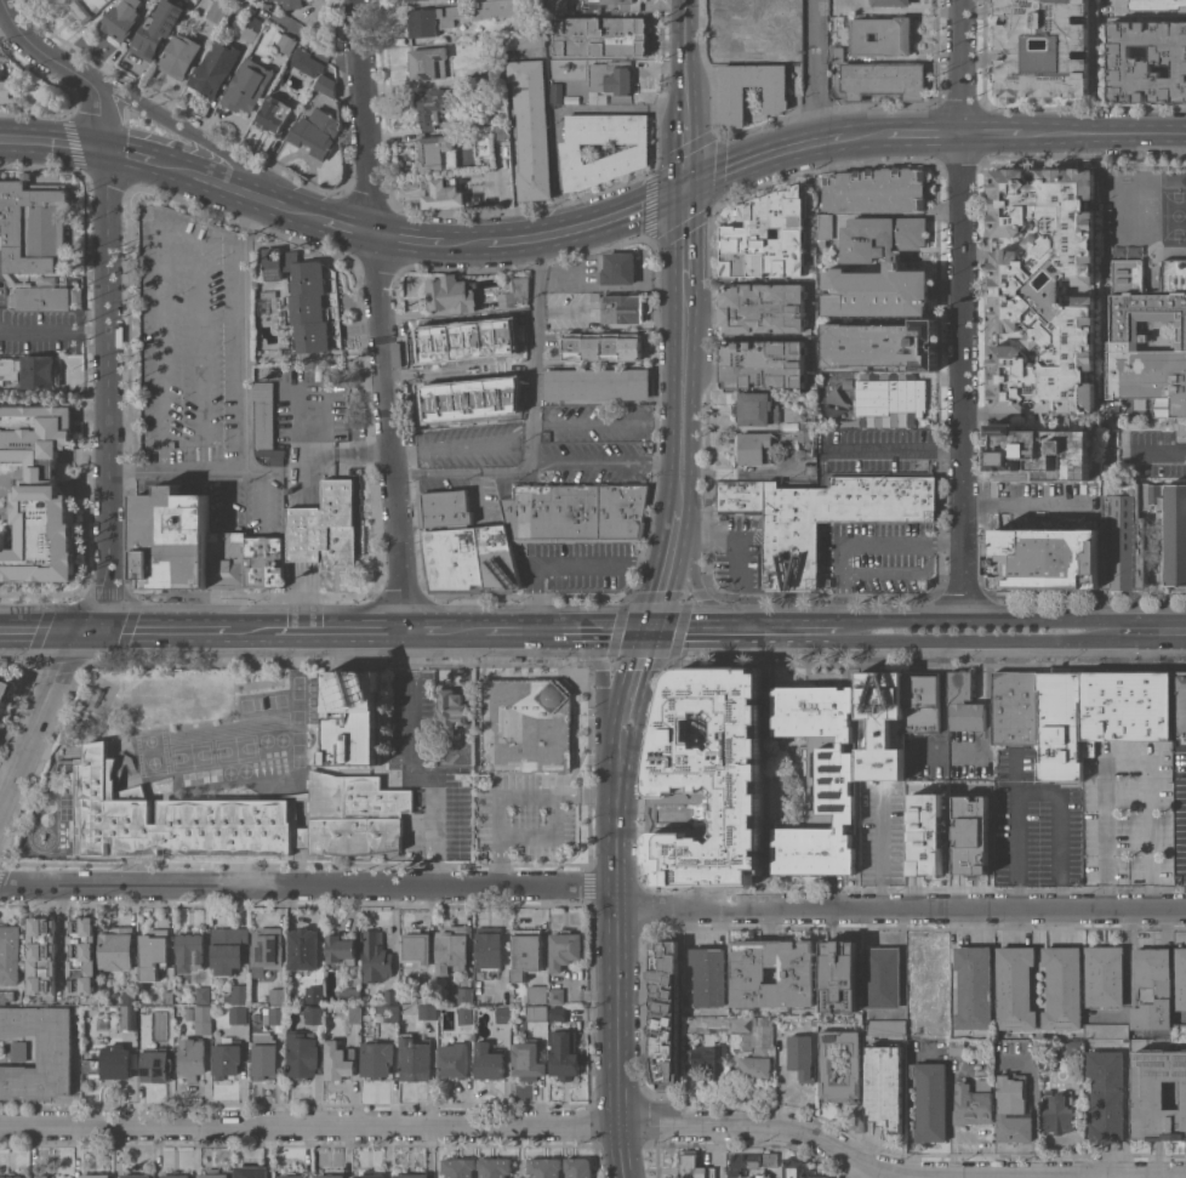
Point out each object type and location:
building: (410, 0)
building: (893, 2)
building: (292, 4)
building: (558, 5)
building: (623, 5)
building: (751, 5)
building: (823, 5)
building: (1158, 5)
building: (82, 8)
building: (496, 8)
road: (901, 8)
building: (791, 10)
building: (217, 12)
building: (122, 19)
building: (432, 19)
building: (156, 29)
building: (252, 29)
road: (80, 30)
building: (752, 35)
building: (603, 36)
building: (882, 36)
building: (520, 41)
building: (283, 42)
building: (1043, 47)
road: (682, 52)
building: (838, 53)
building: (789, 55)
building: (181, 57)
building: (306, 62)
building: (1147, 62)
building: (428, 63)
building: (215, 68)
building: (496, 72)
road: (815, 74)
building: (610, 79)
building: (883, 80)
road: (422, 82)
building: (247, 85)
building: (326, 85)
building: (7, 90)
building: (555, 92)
building: (734, 92)
building: (431, 107)
building: (275, 113)
building: (479, 116)
building: (530, 130)
building: (501, 132)
road: (183, 133)
building: (315, 133)
road: (910, 136)
road: (996, 137)
road: (1107, 138)
building: (481, 141)
road: (53, 143)
road: (683, 148)
building: (433, 153)
building: (632, 153)
road: (769, 160)
road: (138, 161)
road: (513, 171)
building: (877, 190)
road: (238, 192)
traffic signals: (684, 192)
building: (441, 193)
road: (340, 222)
building: (33, 226)
building: (825, 226)
road: (575, 229)
road: (684, 234)
building: (768, 235)
building: (882, 235)
road: (416, 240)
building: (1128, 263)
building: (1174, 263)
building: (618, 268)
building: (8, 278)
building: (1045, 290)
building: (878, 291)
building: (515, 292)
building: (269, 294)
building: (454, 294)
road: (109, 295)
building: (594, 296)
building: (42, 298)
building: (309, 300)
road: (964, 307)
building: (622, 308)
building: (764, 308)
road: (380, 314)
road: (55, 328)
building: (474, 328)
building: (1150, 341)
building: (882, 345)
building: (603, 346)
road: (532, 351)
building: (764, 364)
building: (33, 371)
building: (598, 385)
road: (683, 392)
building: (890, 395)
road: (245, 402)
building: (757, 409)
road: (606, 421)
building: (808, 422)
building: (261, 432)
building: (804, 444)
building: (753, 448)
road: (894, 448)
road: (342, 450)
road: (1158, 450)
building: (1044, 454)
building: (273, 455)
building: (1110, 456)
road: (537, 462)
building: (39, 493)
building: (740, 496)
road: (1024, 503)
building: (444, 507)
building: (575, 512)
building: (833, 518)
building: (324, 527)
building: (1142, 534)
building: (171, 540)
road: (861, 542)
road: (741, 550)
building: (1045, 558)
building: (228, 559)
building: (468, 559)
building: (264, 562)
road: (569, 564)
road: (668, 568)
road: (697, 591)
road: (1028, 615)
road: (1139, 615)
road: (942, 616)
road: (878, 618)
road: (464, 627)
road: (40, 628)
traffic signals: (80, 628)
road: (154, 628)
road: (249, 628)
road: (338, 628)
road: (426, 628)
road: (569, 628)
traffic signals: (652, 630)
road: (746, 630)
road: (974, 641)
road: (1148, 641)
road: (592, 651)
building: (731, 690)
building: (6, 692)
road: (633, 693)
building: (920, 704)
building: (964, 704)
building: (1181, 704)
building: (1127, 706)
building: (451, 707)
building: (1015, 708)
road: (987, 712)
building: (695, 716)
building: (353, 718)
building: (739, 719)
road: (40, 722)
building: (525, 724)
building: (882, 725)
building: (1060, 727)
road: (1129, 761)
road: (411, 769)
building: (463, 773)
building: (821, 778)
building: (720, 785)
road: (597, 791)
road: (1038, 793)
road: (500, 802)
road: (702, 804)
building: (295, 814)
building: (355, 815)
building: (167, 818)
road: (615, 821)
road: (748, 833)
building: (925, 833)
building: (969, 835)
road: (662, 842)
road: (880, 849)
road: (308, 884)
road: (901, 911)
road: (62, 929)
building: (118, 947)
building: (416, 947)
building: (303, 949)
building: (340, 949)
building: (452, 949)
building: (565, 949)
building: (228, 950)
building: (267, 950)
building: (190, 951)
building: (487, 951)
building: (528, 952)
building: (10, 954)
building: (154, 954)
building: (42, 955)
building: (82, 955)
building: (376, 957)
road: (951, 969)
building: (797, 973)
building: (709, 975)
building: (839, 977)
building: (1104, 977)
building: (883, 978)
building: (1181, 978)
building: (974, 988)
building: (1015, 988)
building: (1062, 989)
building: (1152, 989)
building: (538, 994)
building: (204, 995)
building: (238, 995)
building: (314, 995)
building: (352, 995)
building: (6, 996)
building: (275, 996)
building: (392, 996)
building: (424, 996)
building: (466, 996)
building: (555, 996)
building: (130, 997)
building: (169, 997)
building: (427, 1012)
building: (663, 1012)
building: (387, 1013)
building: (537, 1013)
building: (558, 1013)
building: (190, 1014)
building: (315, 1014)
building: (355, 1014)
building: (503, 1014)
building: (129, 1015)
building: (239, 1015)
building: (273, 1015)
building: (464, 1015)
building: (204, 1019)
building: (814, 1021)
building: (705, 1024)
building: (291, 1025)
building: (886, 1028)
building: (143, 1029)
building: (1107, 1031)
building: (1180, 1031)
road: (617, 1032)
building: (752, 1045)
building: (956, 1047)
building: (1071, 1048)
building: (18, 1051)
building: (39, 1051)
building: (304, 1054)
building: (564, 1054)
building: (264, 1055)
building: (711, 1057)
building: (802, 1057)
building: (192, 1058)
building: (227, 1058)
building: (415, 1058)
building: (377, 1059)
building: (454, 1059)
building: (338, 1060)
building: (487, 1060)
building: (854, 1060)
building: (528, 1062)
building: (112, 1063)
building: (156, 1065)
building: (885, 1086)
building: (1158, 1094)
building: (1107, 1096)
building: (930, 1102)
building: (974, 1103)
building: (1013, 1110)
building: (1059, 1111)
building: (855, 1116)
road: (760, 1123)
road: (309, 1125)
building: (770, 1160)
building: (742, 1163)
building: (692, 1166)
building: (458, 1167)
building: (495, 1167)
building: (544, 1167)
building: (578, 1167)
building: (797, 1170)
building: (252, 1172)
building: (213, 1173)
building: (12, 1174)
building: (370, 1174)
building: (96, 1176)
building: (136, 1176)
building: (175, 1176)
building: (292, 1176)
building: (331, 1176)
building: (412, 1176)
building: (46, 1177)
road: (876, 1177)

